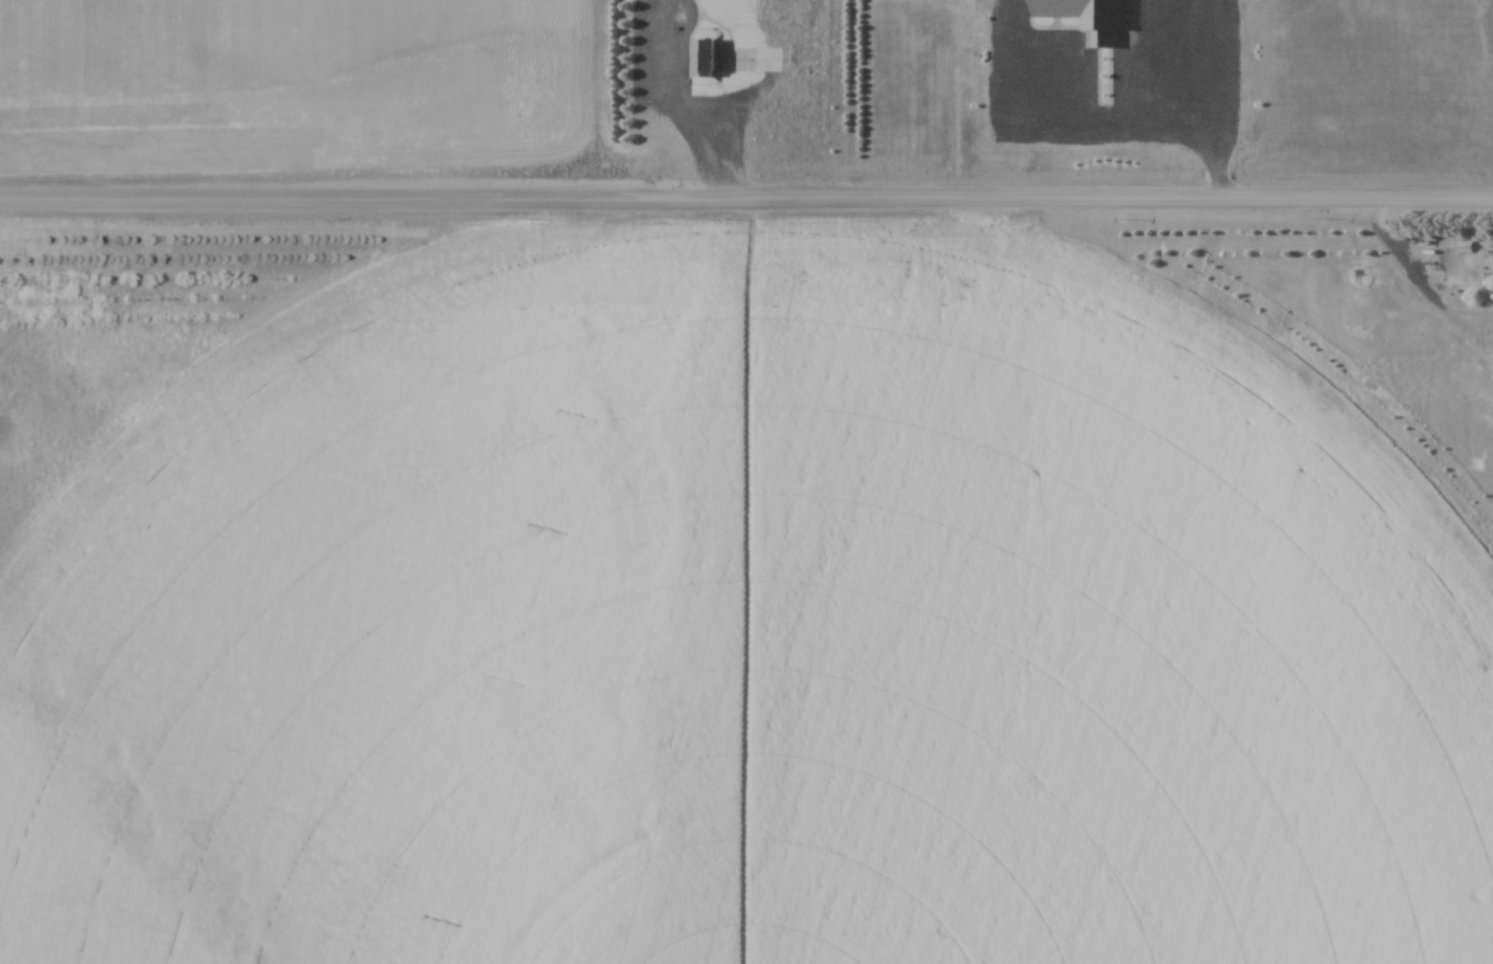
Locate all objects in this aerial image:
building: (708, 59)
road: (746, 194)
building: (1369, 256)

